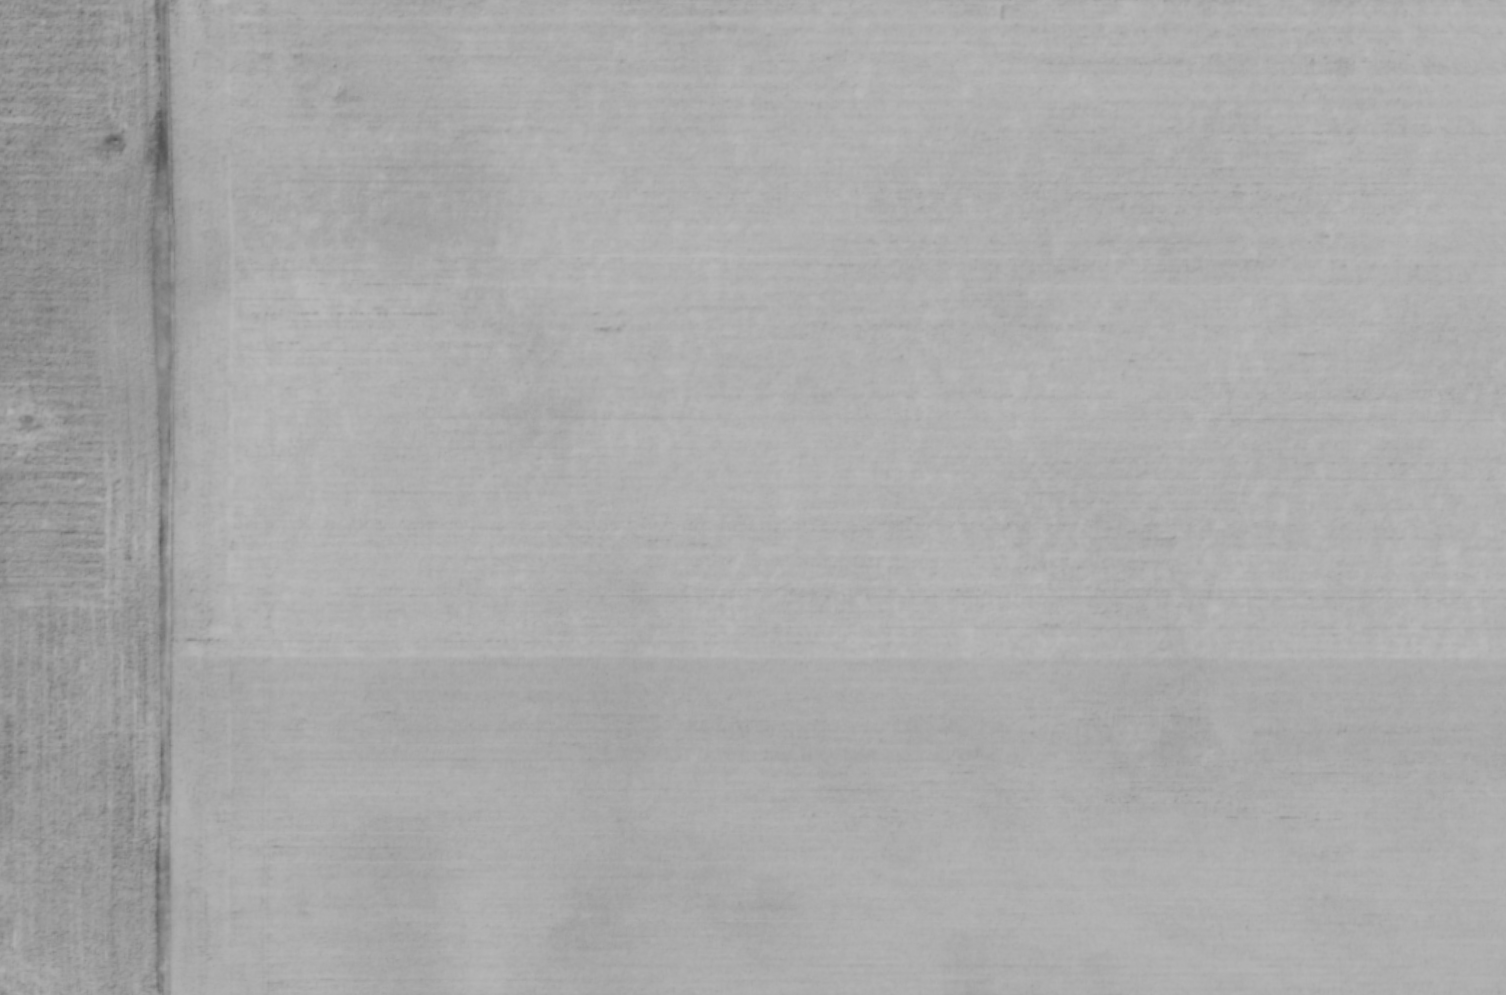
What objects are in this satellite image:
road: (249, 55)
building: (336, 86)

